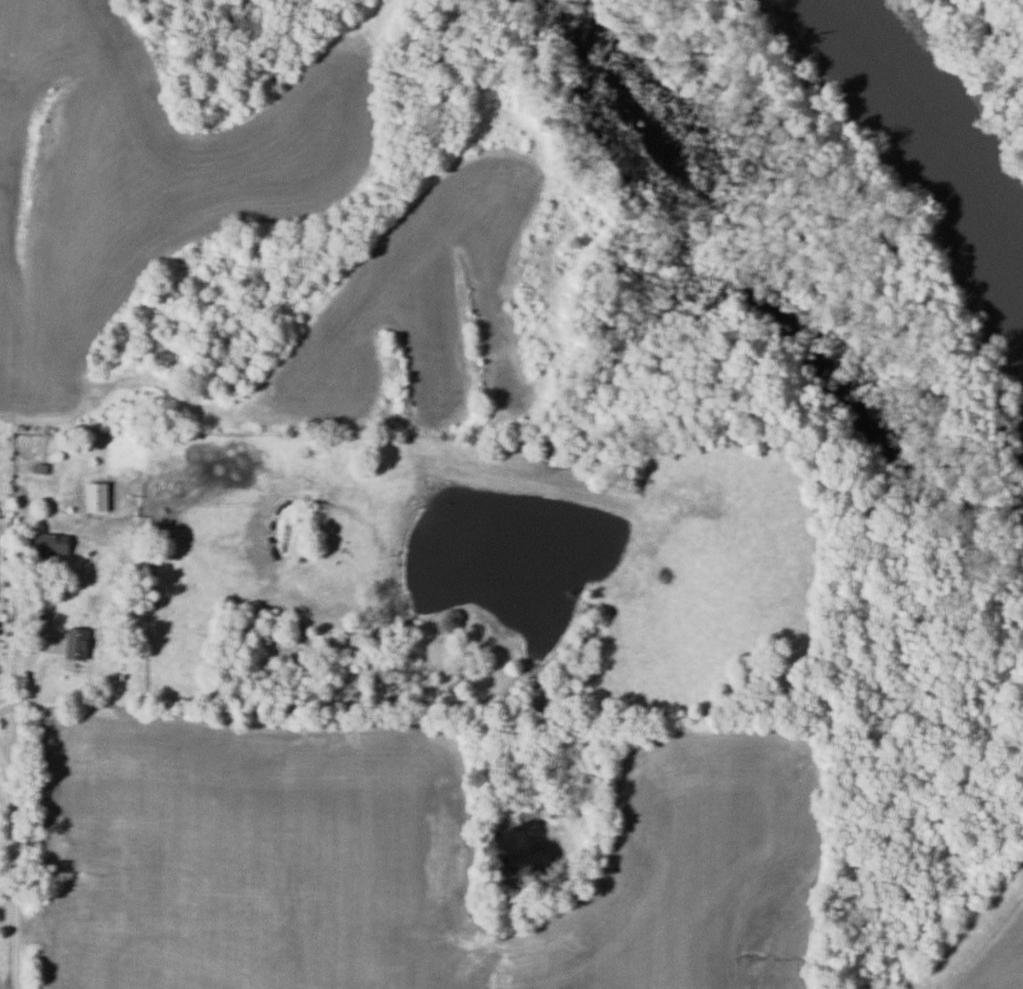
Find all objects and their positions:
river: (948, 183)
building: (40, 469)
building: (95, 495)
building: (48, 544)
building: (77, 642)
road: (31, 668)
road: (14, 870)

